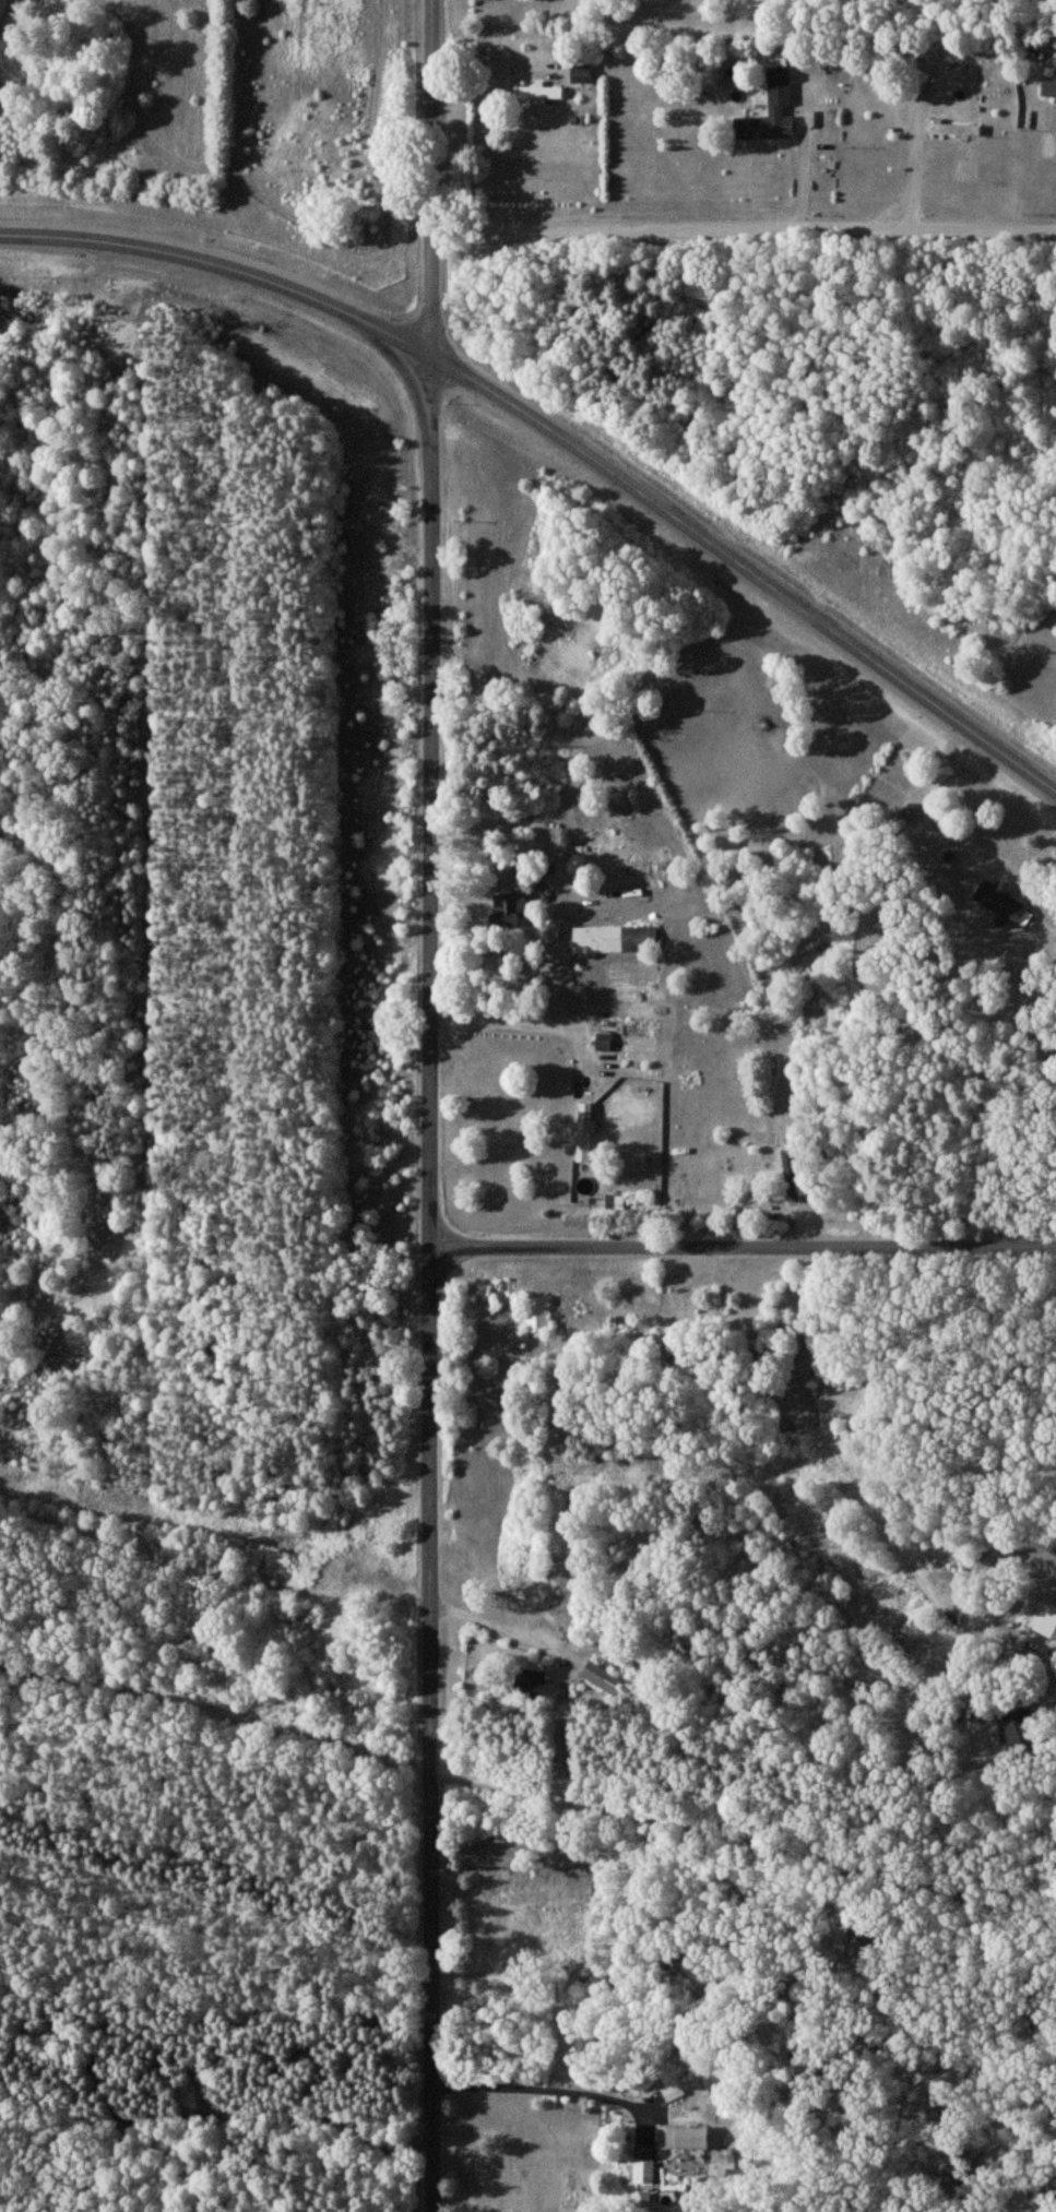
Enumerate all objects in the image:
building: (581, 73)
building: (1048, 86)
building: (541, 91)
building: (770, 109)
building: (954, 128)
road: (744, 239)
road: (561, 436)
building: (583, 805)
building: (1001, 902)
building: (508, 908)
building: (612, 938)
road: (431, 1106)
building: (583, 1131)
building: (793, 1174)
road: (743, 1247)
building: (536, 1315)
road: (847, 1435)
road: (210, 1573)
building: (1045, 1618)
building: (601, 1676)
building: (536, 1686)
building: (1020, 1731)
road: (527, 1793)
road: (536, 2088)
building: (685, 2136)
building: (645, 2163)

